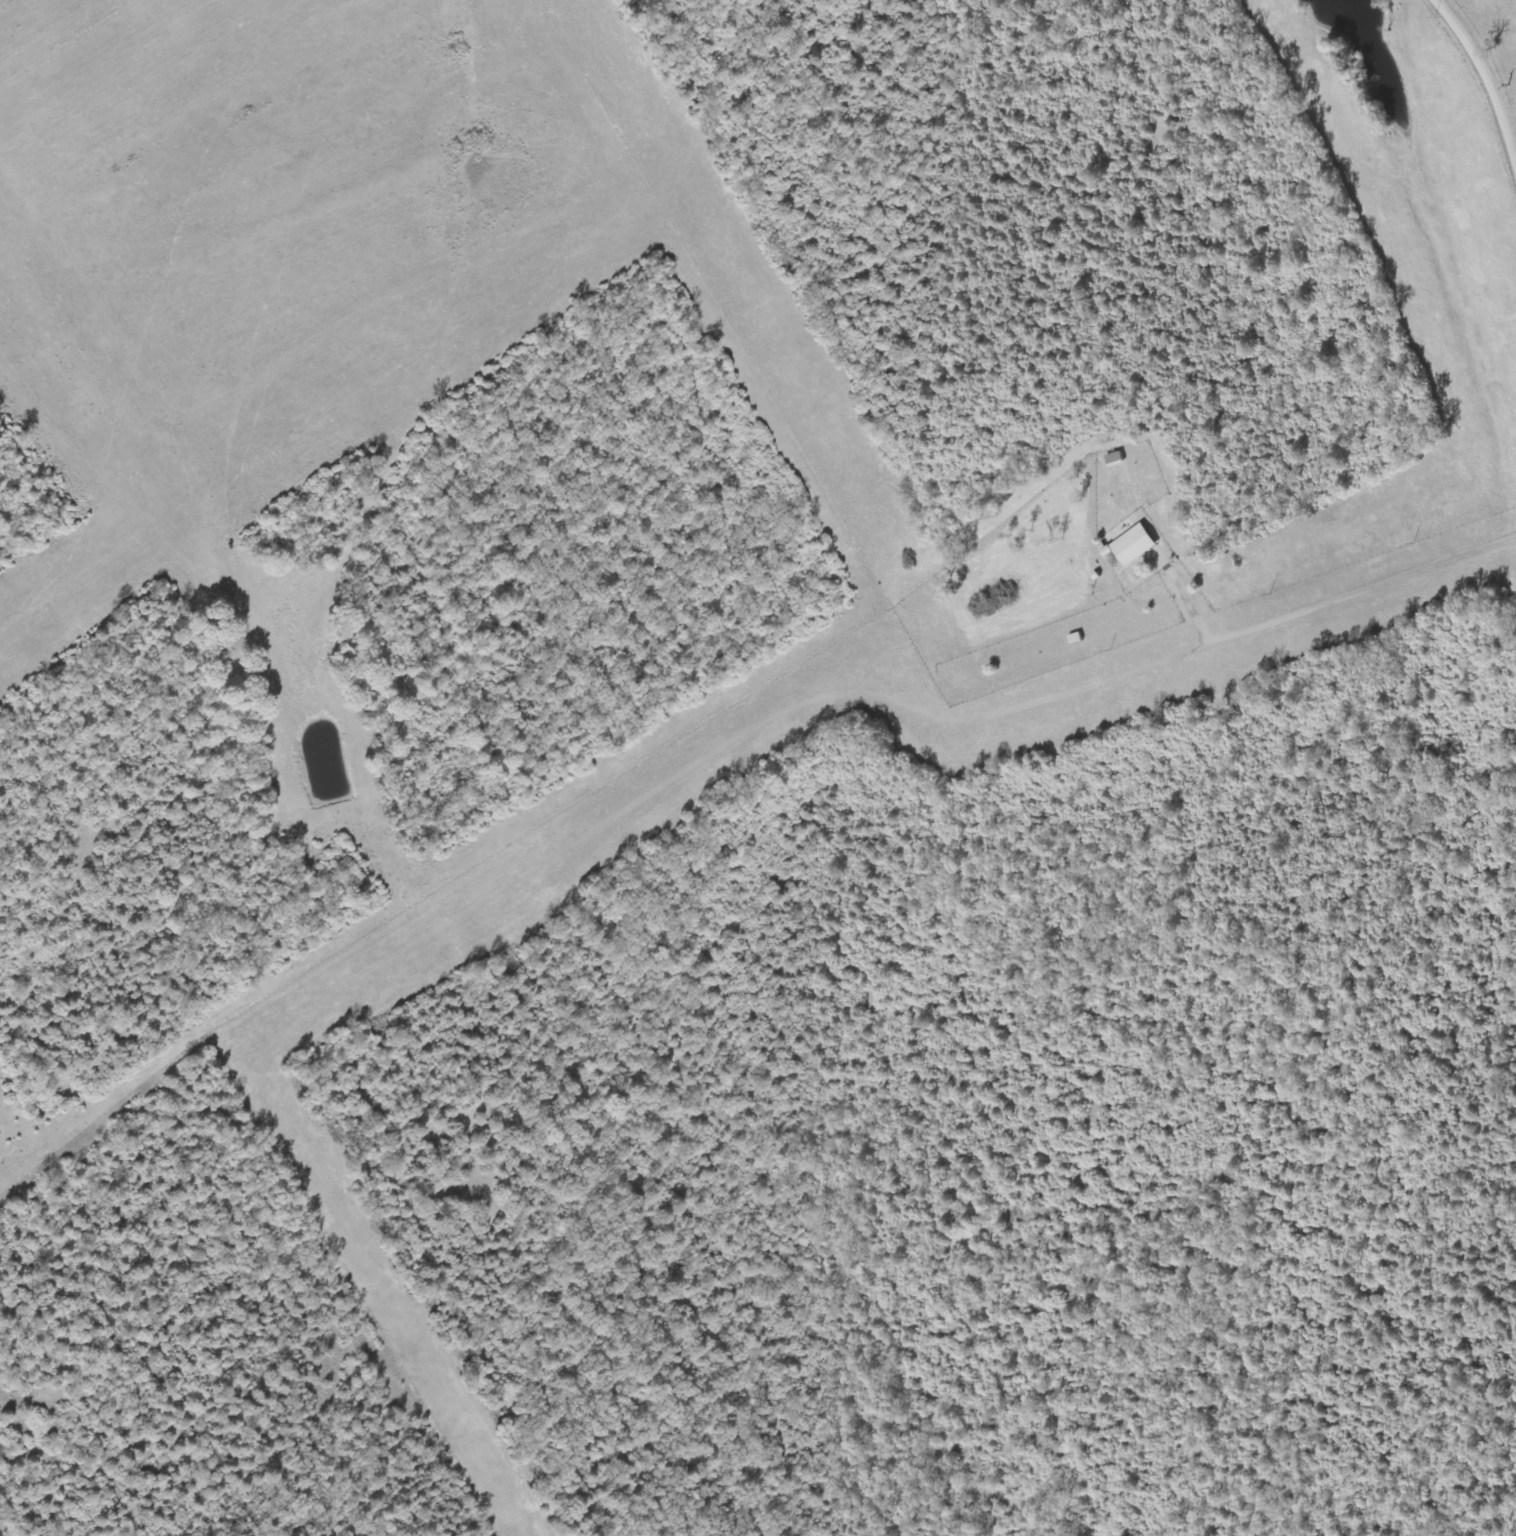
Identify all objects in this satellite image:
road: (1486, 80)
building: (1115, 459)
building: (1134, 545)

